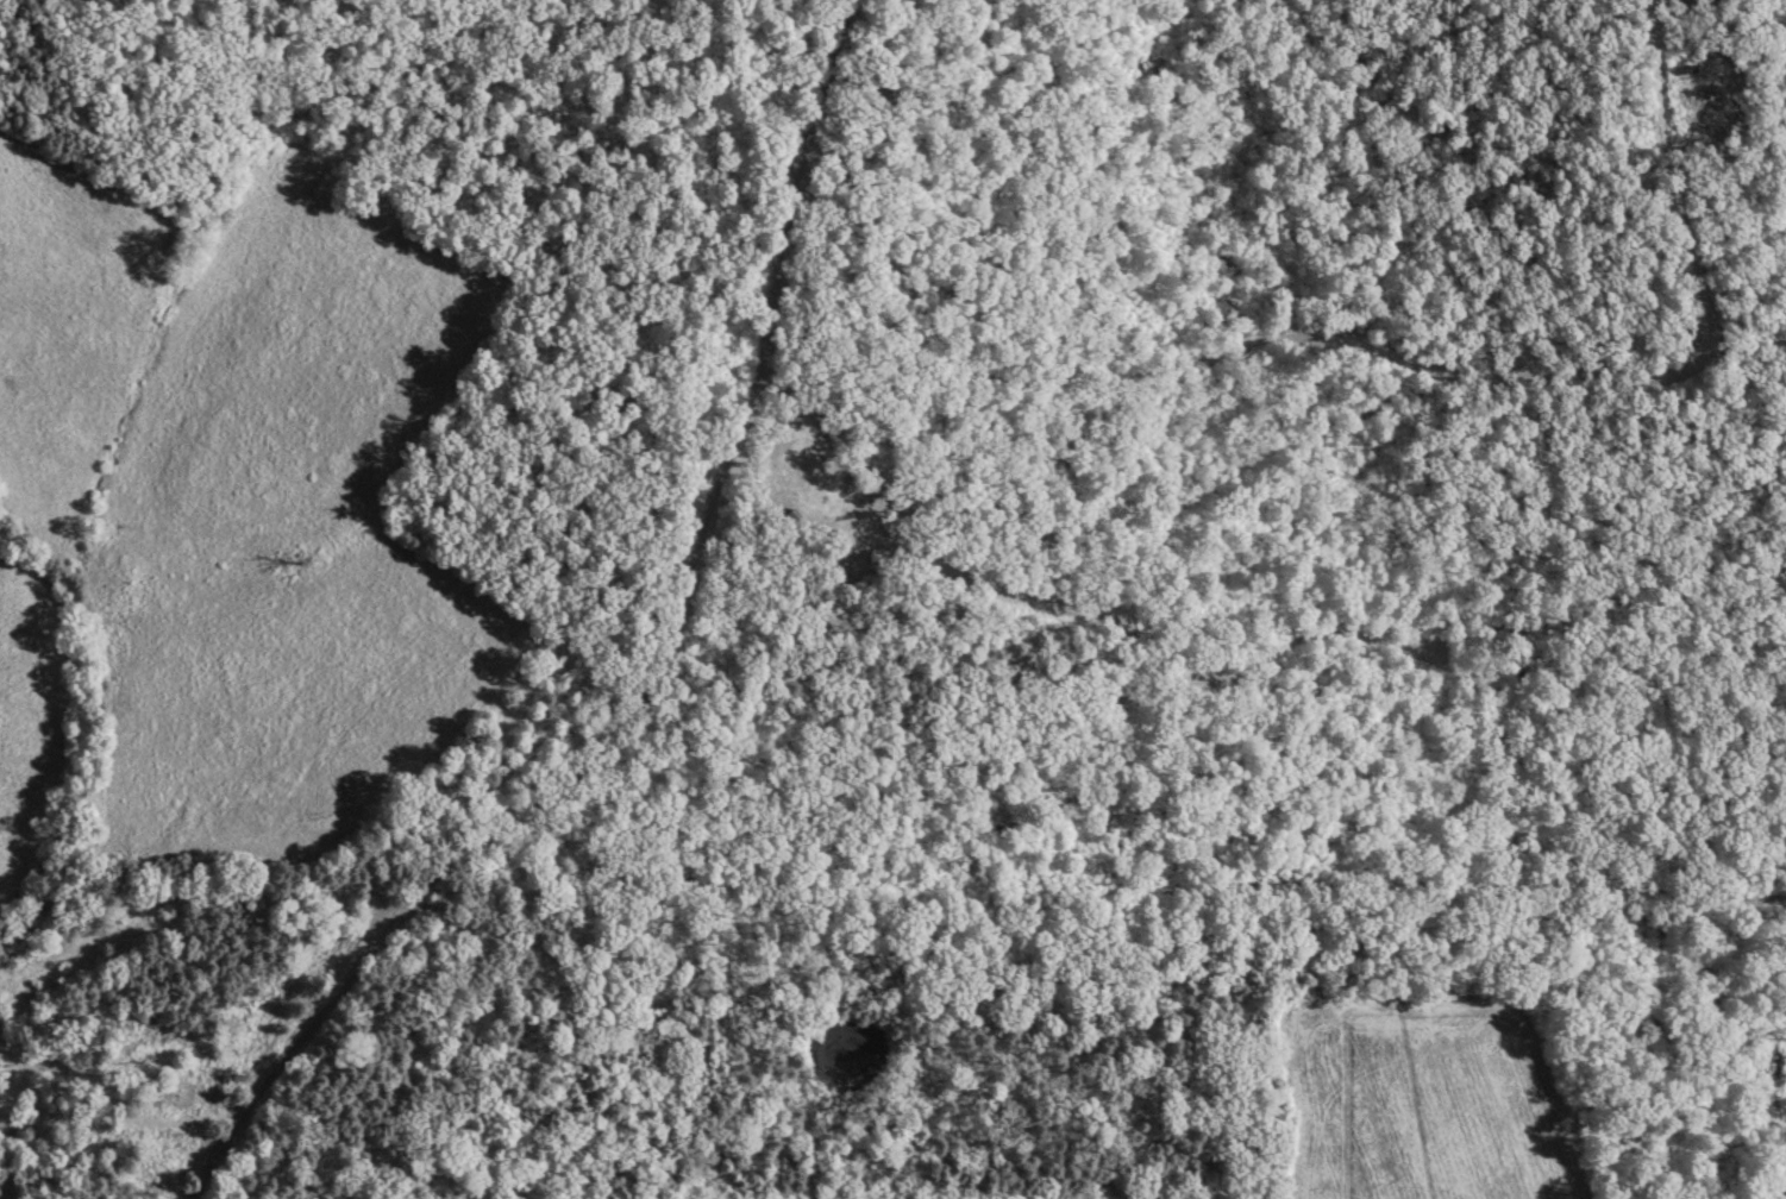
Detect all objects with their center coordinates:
road: (1372, 346)
road: (650, 677)

